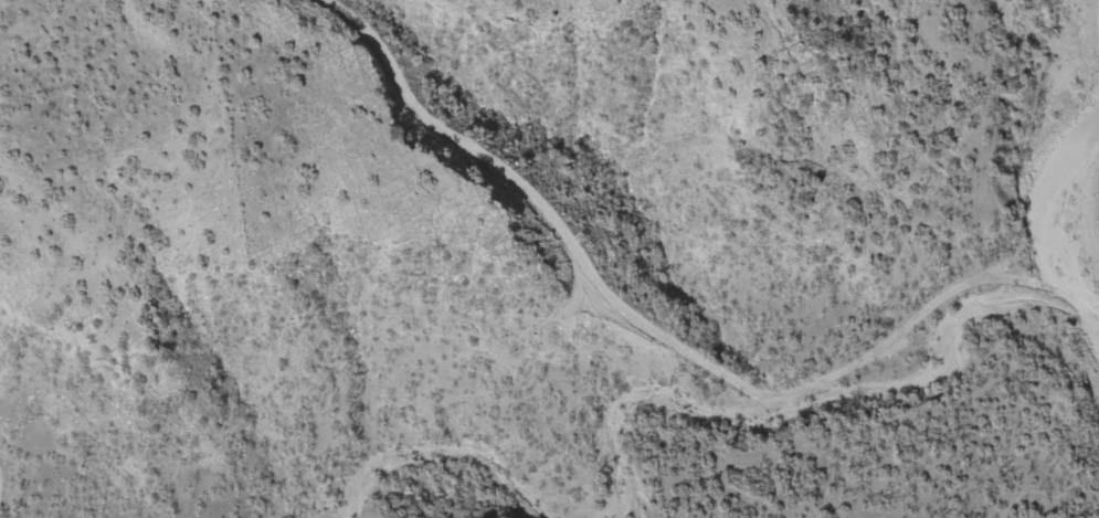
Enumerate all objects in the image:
road: (998, 252)

